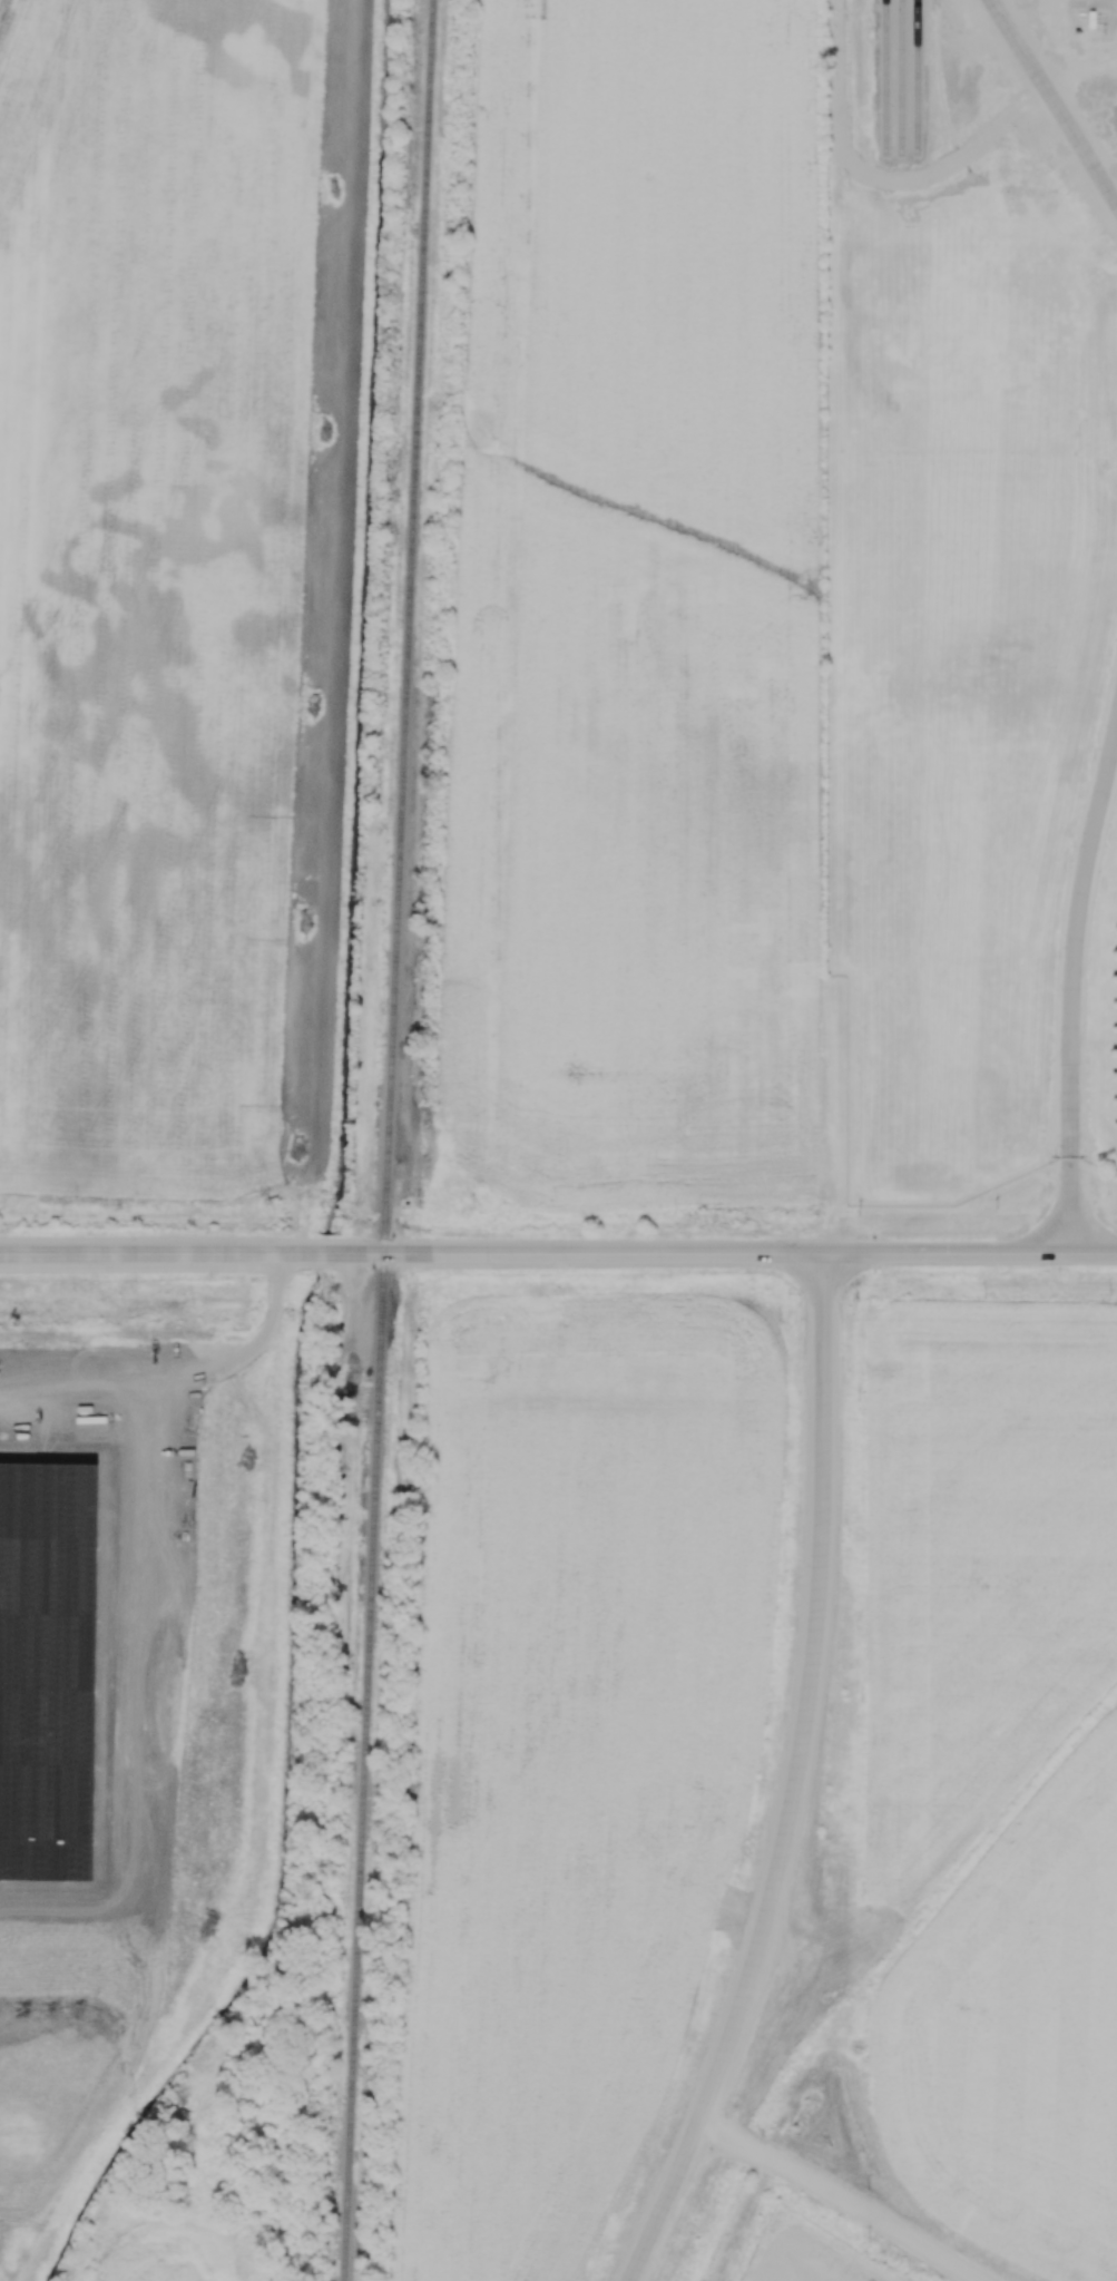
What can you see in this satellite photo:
road: (1077, 67)
railway: (886, 76)
railway: (919, 76)
railway: (901, 77)
road: (1049, 104)
road: (1065, 961)
railway: (384, 1139)
road: (408, 1252)
road: (967, 1252)
road: (801, 1696)
road: (843, 2197)
road: (663, 2205)

